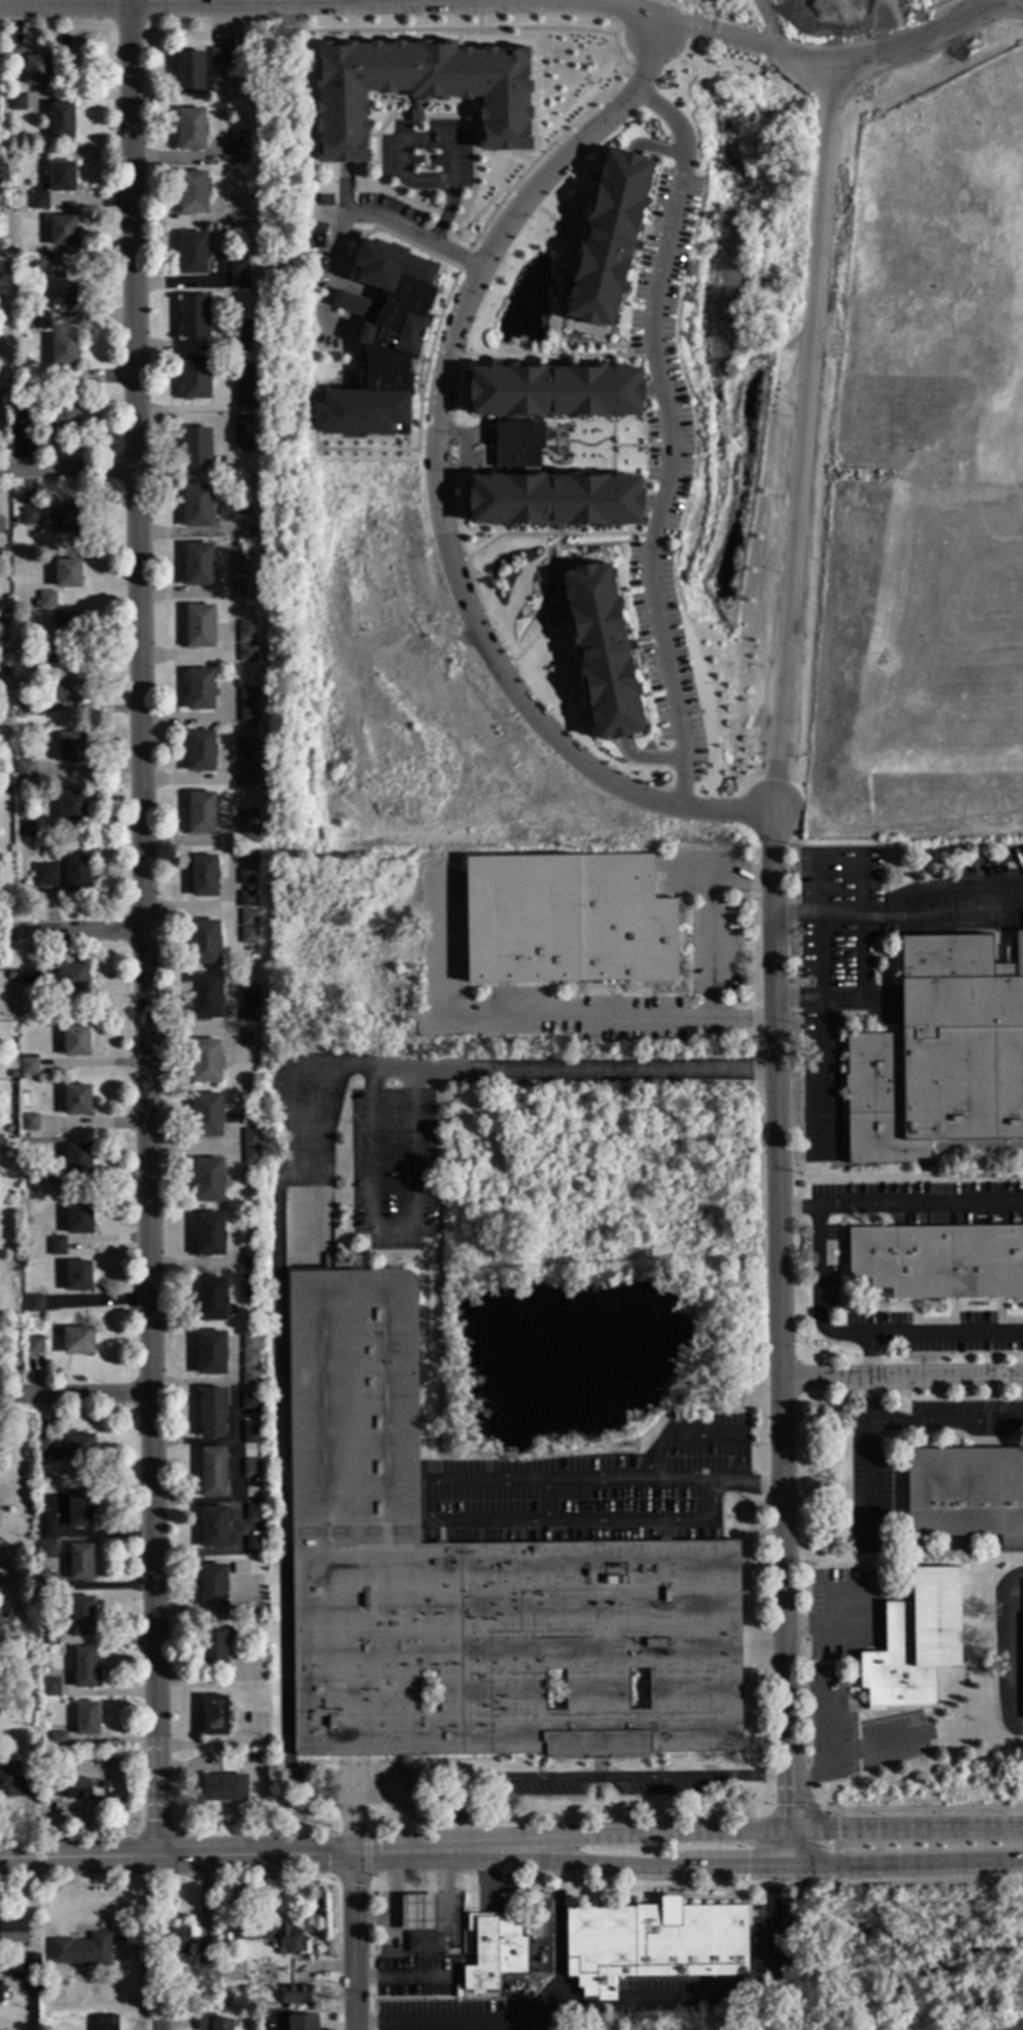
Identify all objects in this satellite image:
road: (453, 0)
road: (373, 1)
road: (408, 1)
road: (329, 3)
road: (975, 6)
road: (769, 23)
building: (14, 57)
building: (227, 57)
road: (835, 60)
building: (37, 71)
building: (190, 74)
building: (1, 85)
building: (418, 89)
building: (16, 102)
building: (61, 120)
building: (190, 130)
building: (238, 139)
road: (434, 140)
building: (238, 156)
building: (61, 177)
building: (193, 194)
building: (39, 201)
road: (363, 215)
building: (63, 232)
building: (318, 236)
building: (609, 237)
building: (193, 254)
building: (40, 261)
building: (239, 263)
building: (239, 282)
building: (62, 290)
building: (195, 317)
building: (39, 321)
building: (240, 336)
building: (382, 345)
building: (64, 351)
building: (34, 379)
building: (195, 379)
building: (243, 385)
building: (554, 391)
road: (806, 406)
building: (12, 409)
building: (63, 417)
building: (22, 421)
building: (241, 434)
road: (669, 438)
building: (518, 446)
building: (196, 450)
road: (70, 470)
road: (438, 482)
building: (555, 500)
building: (197, 507)
building: (29, 517)
building: (64, 519)
building: (250, 534)
building: (198, 566)
building: (242, 573)
building: (67, 575)
building: (47, 601)
building: (34, 606)
building: (66, 628)
building: (200, 628)
building: (246, 634)
building: (601, 644)
building: (246, 654)
building: (31, 658)
building: (46, 659)
building: (64, 691)
building: (199, 691)
building: (246, 701)
building: (28, 705)
building: (246, 746)
building: (70, 748)
building: (200, 753)
building: (247, 771)
building: (26, 774)
building: (72, 807)
building: (200, 814)
building: (248, 827)
building: (25, 829)
building: (248, 859)
building: (76, 873)
building: (45, 876)
building: (203, 877)
building: (246, 878)
building: (247, 900)
building: (568, 919)
building: (247, 920)
road: (142, 927)
road: (71, 931)
building: (247, 936)
building: (204, 943)
road: (712, 949)
road: (820, 958)
building: (29, 976)
building: (70, 978)
building: (206, 997)
building: (250, 1004)
road: (512, 1019)
building: (250, 1038)
building: (75, 1042)
building: (940, 1056)
building: (205, 1062)
building: (28, 1066)
road: (392, 1071)
road: (595, 1071)
building: (76, 1101)
building: (205, 1116)
building: (29, 1123)
building: (249, 1138)
railway: (977, 1147)
building: (250, 1156)
building: (77, 1160)
building: (46, 1177)
building: (208, 1181)
road: (899, 1205)
building: (79, 1221)
road: (391, 1231)
building: (208, 1235)
building: (56, 1247)
building: (249, 1258)
building: (939, 1262)
building: (78, 1277)
building: (250, 1292)
road: (778, 1292)
road: (817, 1292)
building: (209, 1300)
building: (34, 1304)
road: (925, 1335)
building: (78, 1342)
building: (249, 1344)
building: (34, 1346)
building: (210, 1354)
building: (1, 1356)
building: (249, 1360)
building: (249, 1377)
road: (902, 1377)
road: (76, 1397)
building: (249, 1403)
building: (211, 1414)
road: (947, 1422)
building: (250, 1434)
road: (701, 1437)
building: (0, 1443)
building: (65, 1448)
building: (508, 1455)
road: (870, 1458)
road: (282, 1459)
building: (251, 1468)
building: (212, 1473)
road: (605, 1483)
building: (966, 1495)
building: (28, 1498)
building: (79, 1511)
building: (253, 1514)
road: (571, 1522)
building: (46, 1528)
building: (214, 1528)
building: (254, 1547)
building: (80, 1562)
building: (471, 1582)
building: (47, 1584)
building: (212, 1586)
building: (82, 1617)
building: (50, 1637)
building: (914, 1643)
road: (767, 1645)
building: (213, 1650)
road: (1010, 1651)
building: (83, 1668)
building: (50, 1688)
building: (214, 1717)
building: (87, 1720)
road: (831, 1727)
building: (56, 1740)
road: (879, 1745)
building: (128, 1754)
building: (236, 1755)
road: (594, 1778)
building: (14, 1782)
building: (224, 1789)
building: (67, 1790)
road: (923, 1810)
road: (927, 1831)
road: (807, 1833)
traffic signals: (784, 1834)
road: (670, 1839)
road: (781, 1848)
road: (831, 1848)
road: (522, 1851)
road: (419, 1853)
traffic signals: (159, 1854)
road: (176, 1854)
traffic signals: (352, 1855)
road: (667, 1859)
traffic signals: (778, 1863)
road: (900, 1864)
road: (486, 1873)
road: (927, 1882)
road: (658, 1887)
road: (441, 1896)
road: (395, 1904)
building: (418, 1913)
road: (147, 1931)
building: (271, 1935)
building: (13, 1936)
building: (426, 1941)
road: (354, 1942)
building: (652, 1944)
building: (175, 1945)
building: (494, 1950)
building: (80, 1954)
building: (203, 1959)
building: (30, 1965)
park: (882, 1969)
road: (406, 1979)
building: (30, 1985)
building: (0, 1992)
building: (295, 1996)
road: (652, 1998)
road: (159, 2013)
building: (303, 2022)
building: (210, 2024)
building: (105, 2025)
road: (460, 2028)

